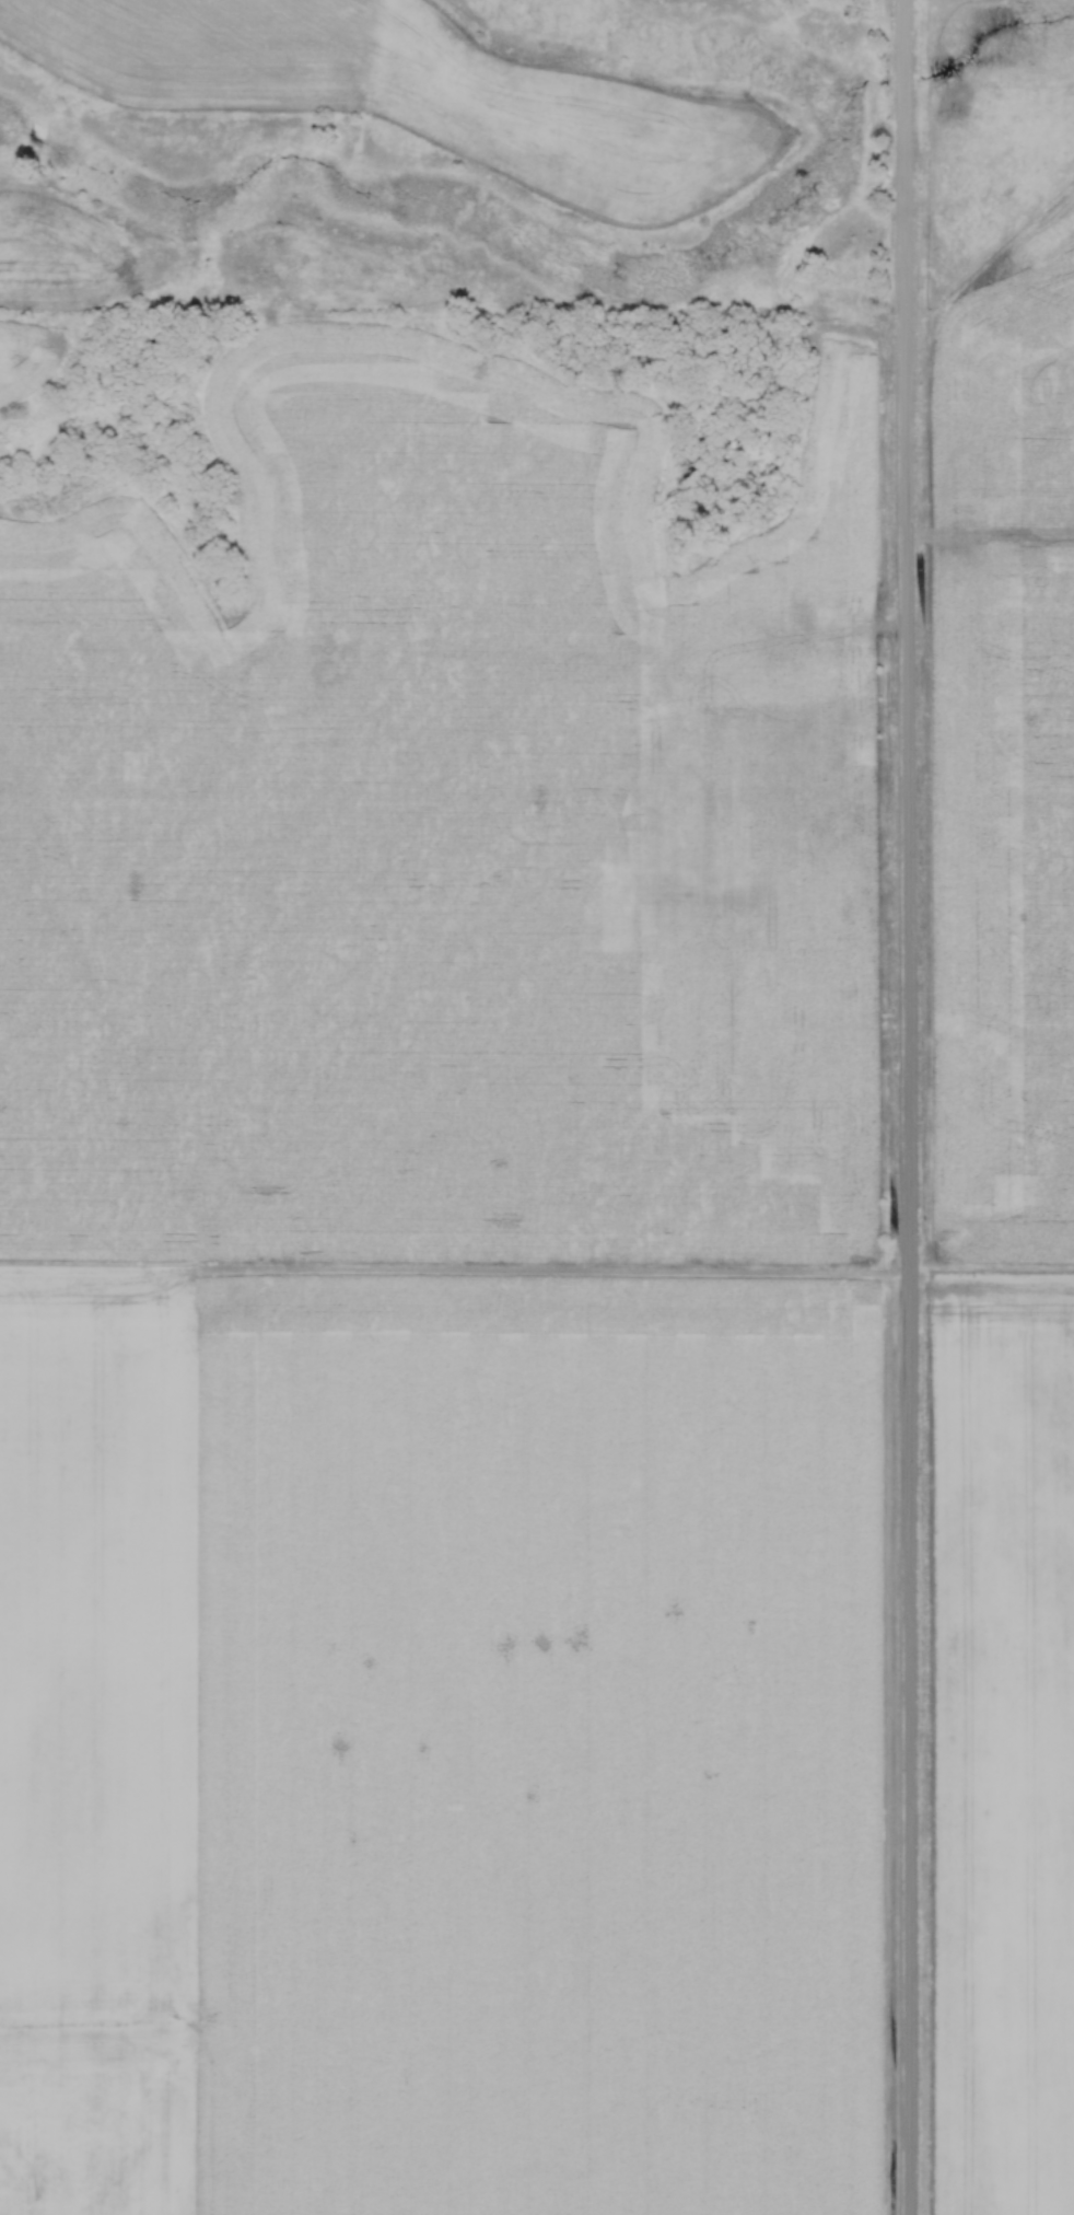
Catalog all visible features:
road: (901, 1107)

